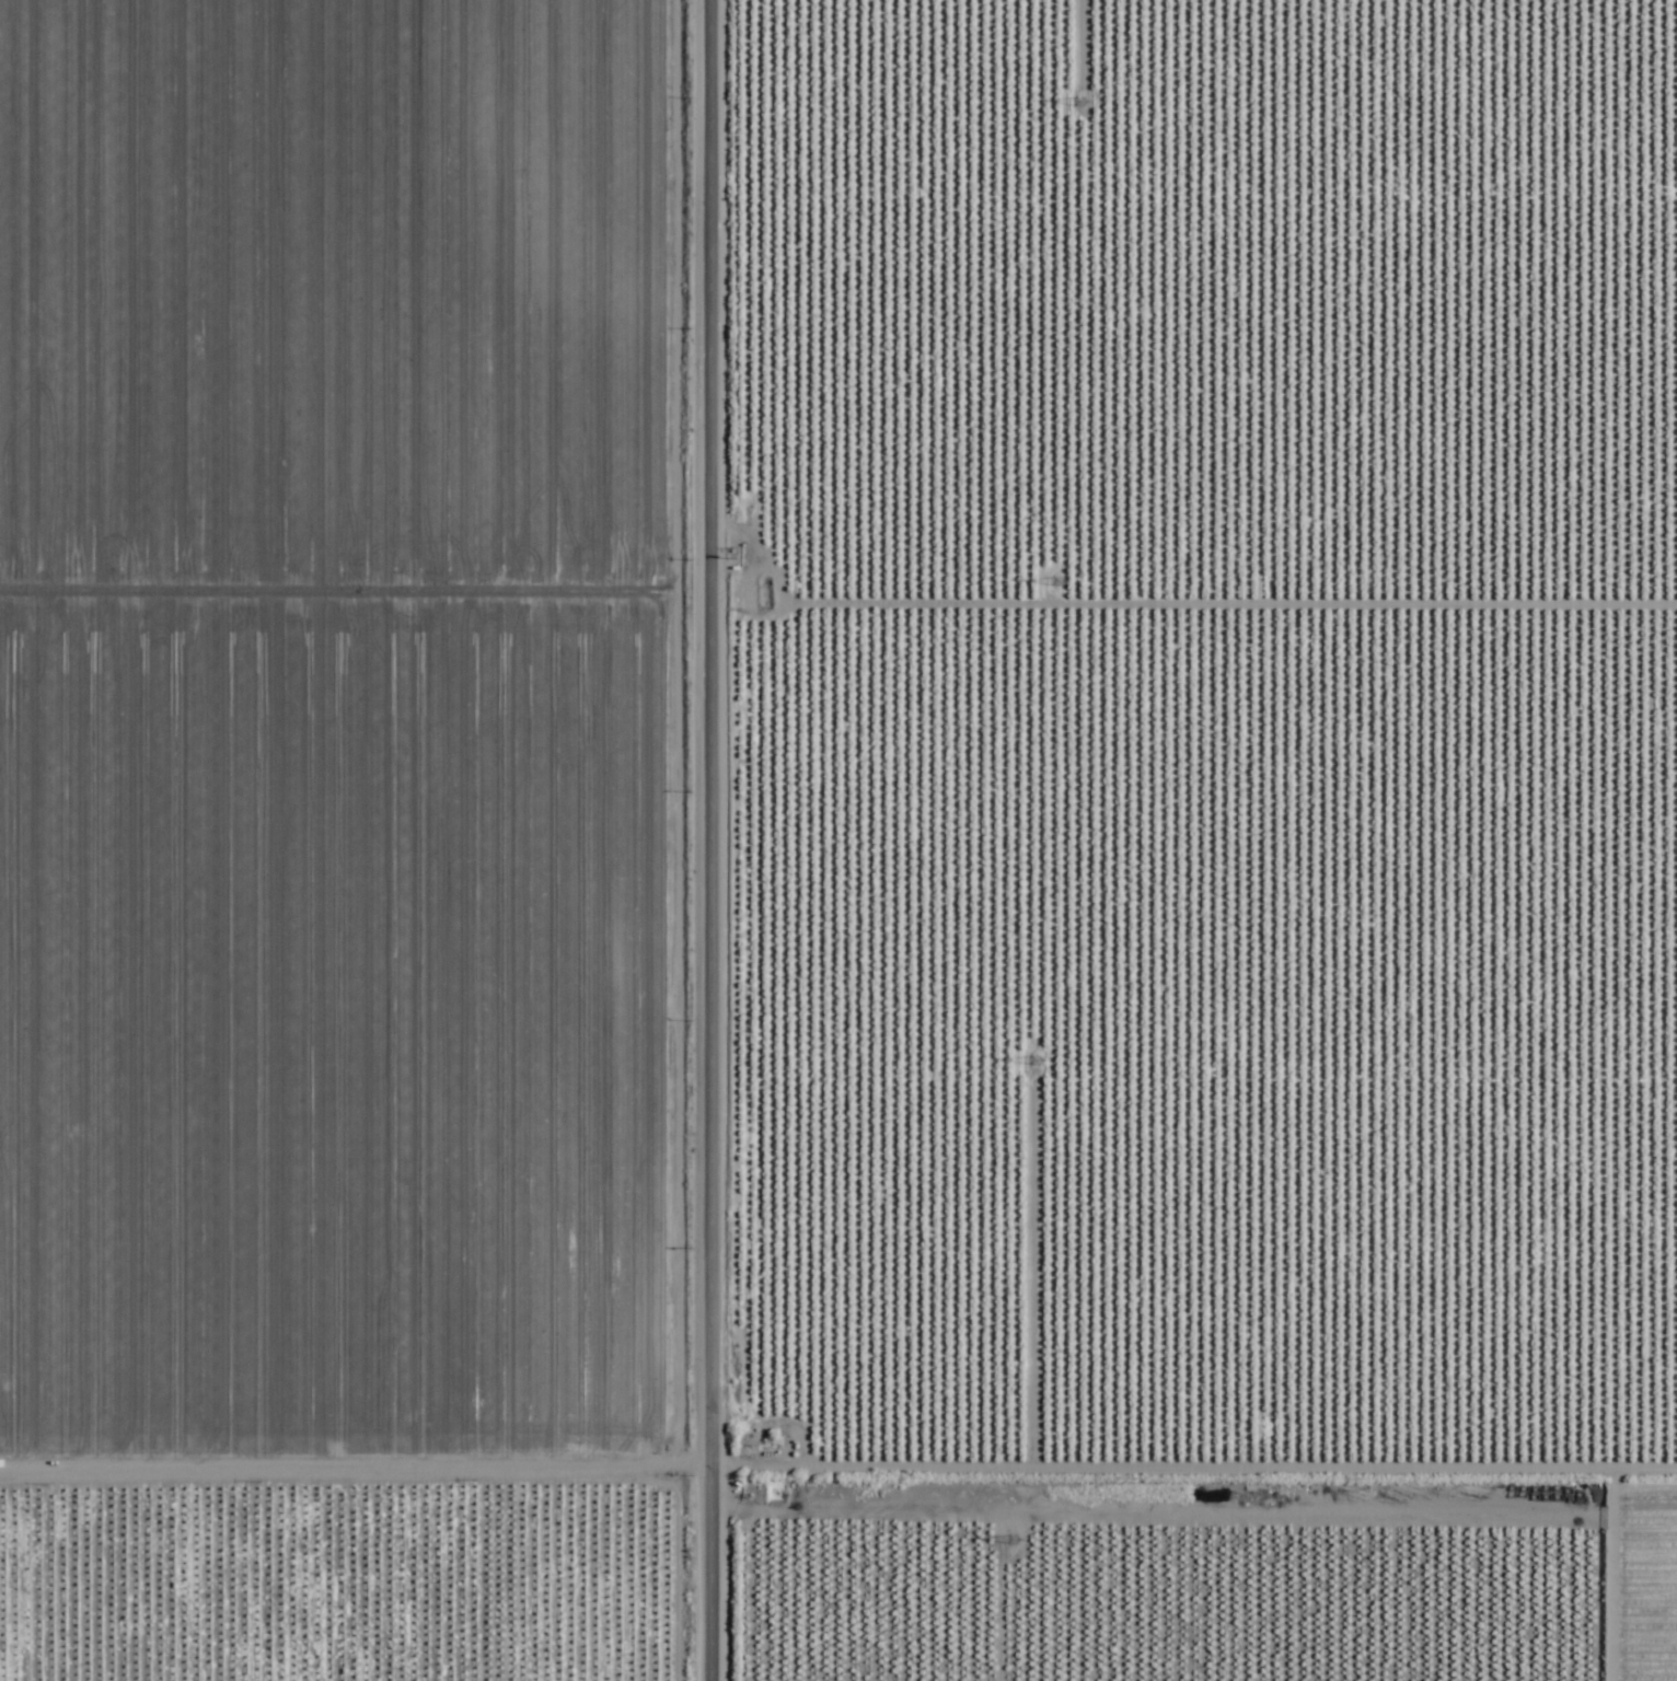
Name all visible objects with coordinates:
power tower: (1079, 104)
power tower: (1057, 583)
road: (714, 840)
crop: (502, 884)
power tower: (1036, 1065)
road: (837, 1441)
power tower: (1018, 1540)

